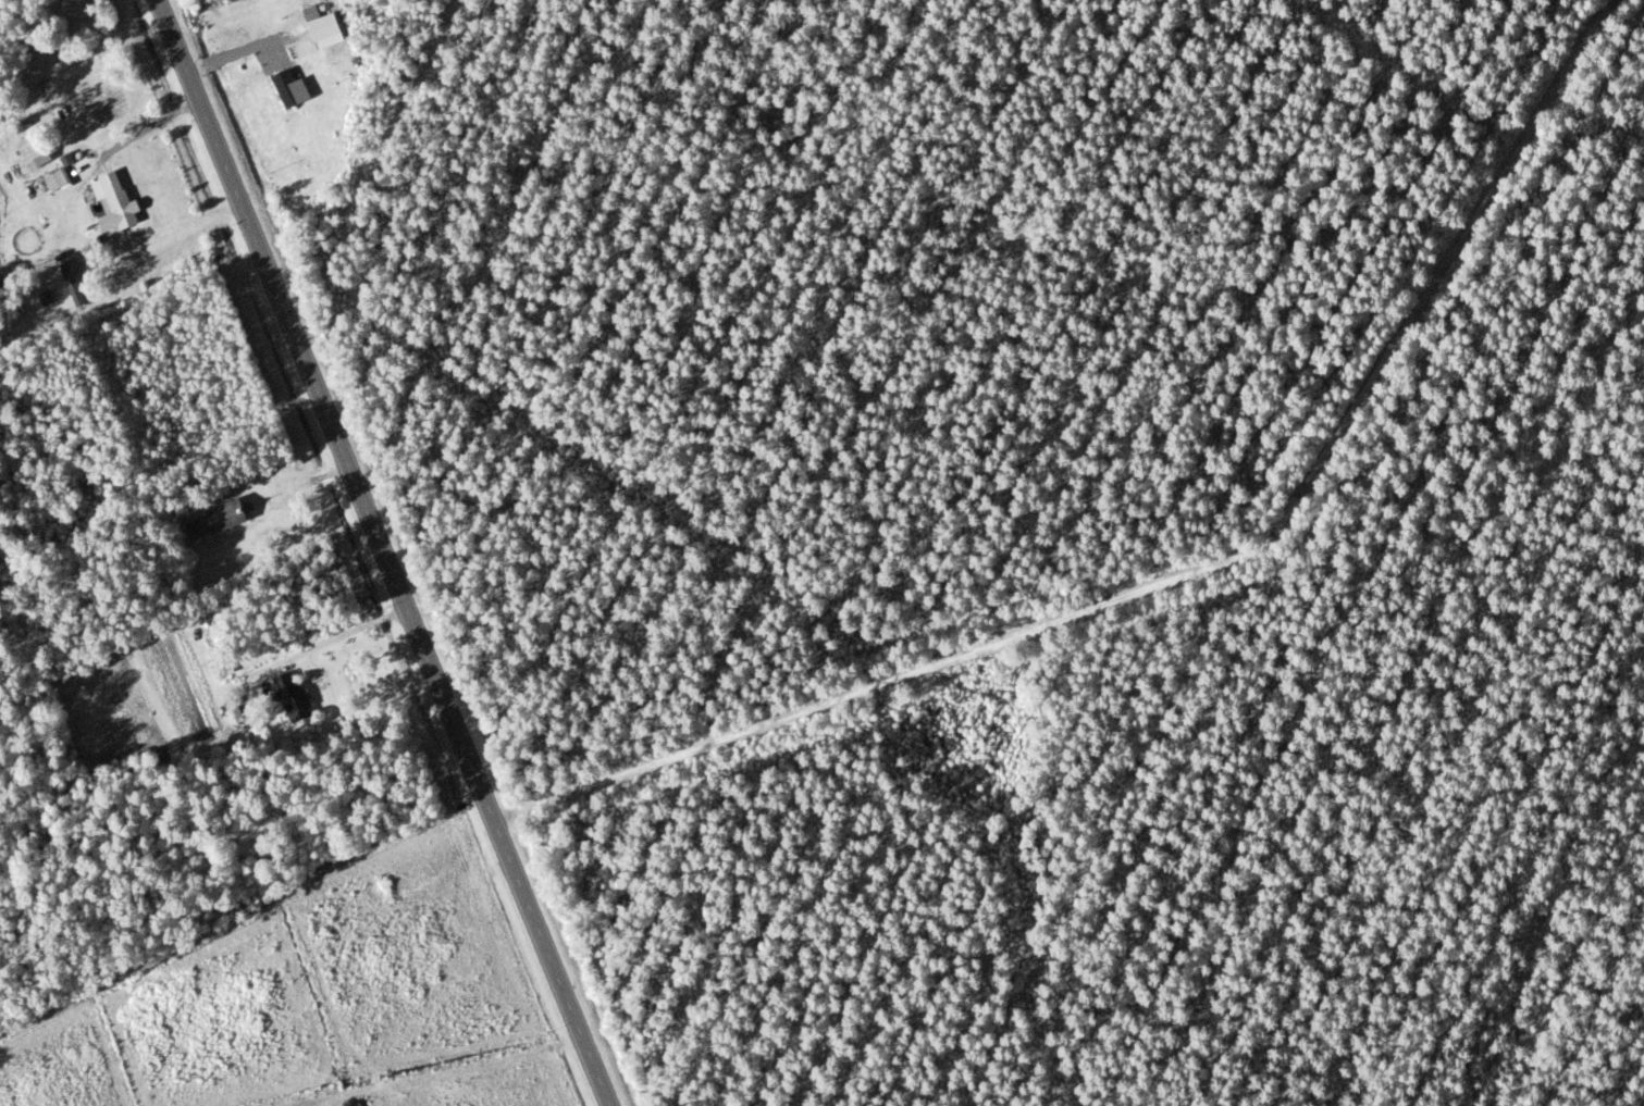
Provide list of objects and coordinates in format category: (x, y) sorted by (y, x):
building: (54, 179)
building: (69, 281)
building: (213, 520)
road: (384, 552)
building: (289, 697)

